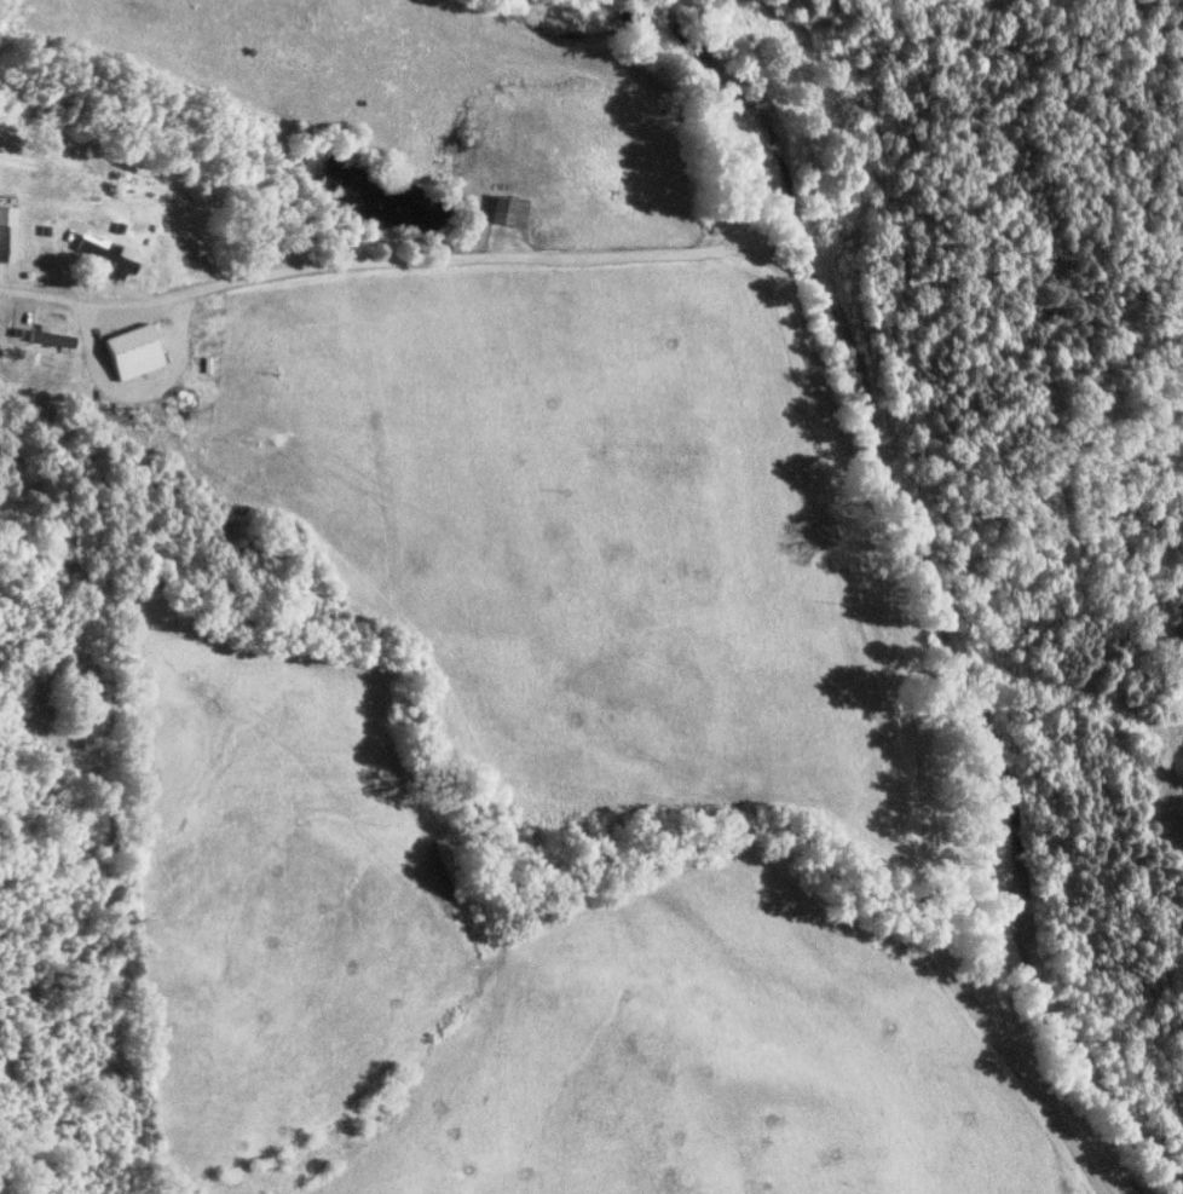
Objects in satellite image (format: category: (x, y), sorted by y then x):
building: (506, 210)
building: (7, 233)
building: (106, 255)
building: (131, 352)
road: (815, 365)

